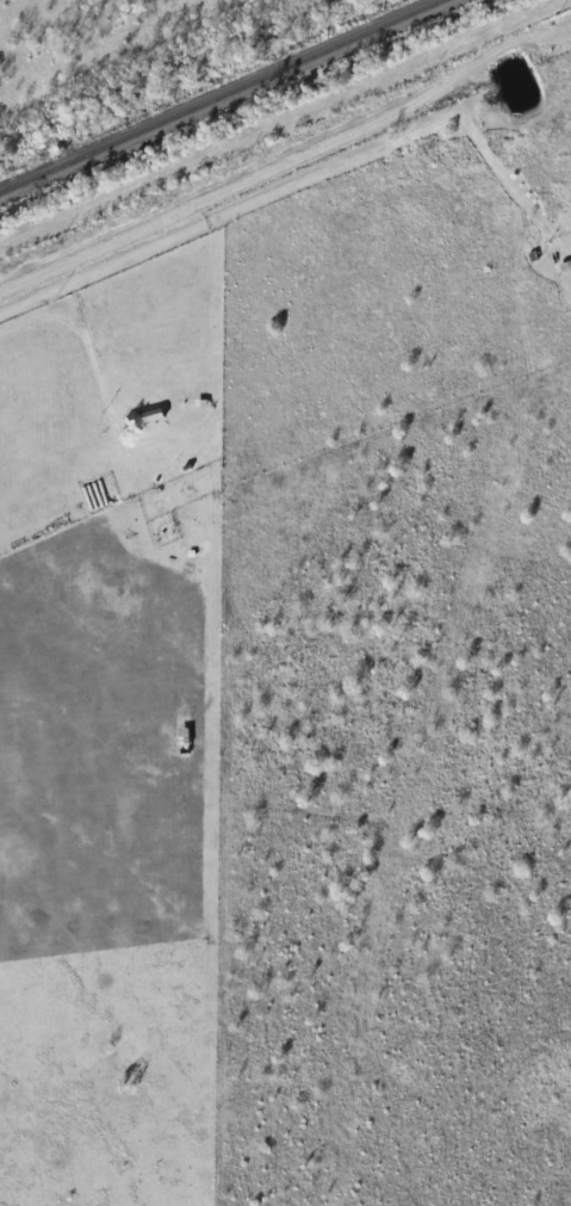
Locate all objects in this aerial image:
railway: (218, 94)

